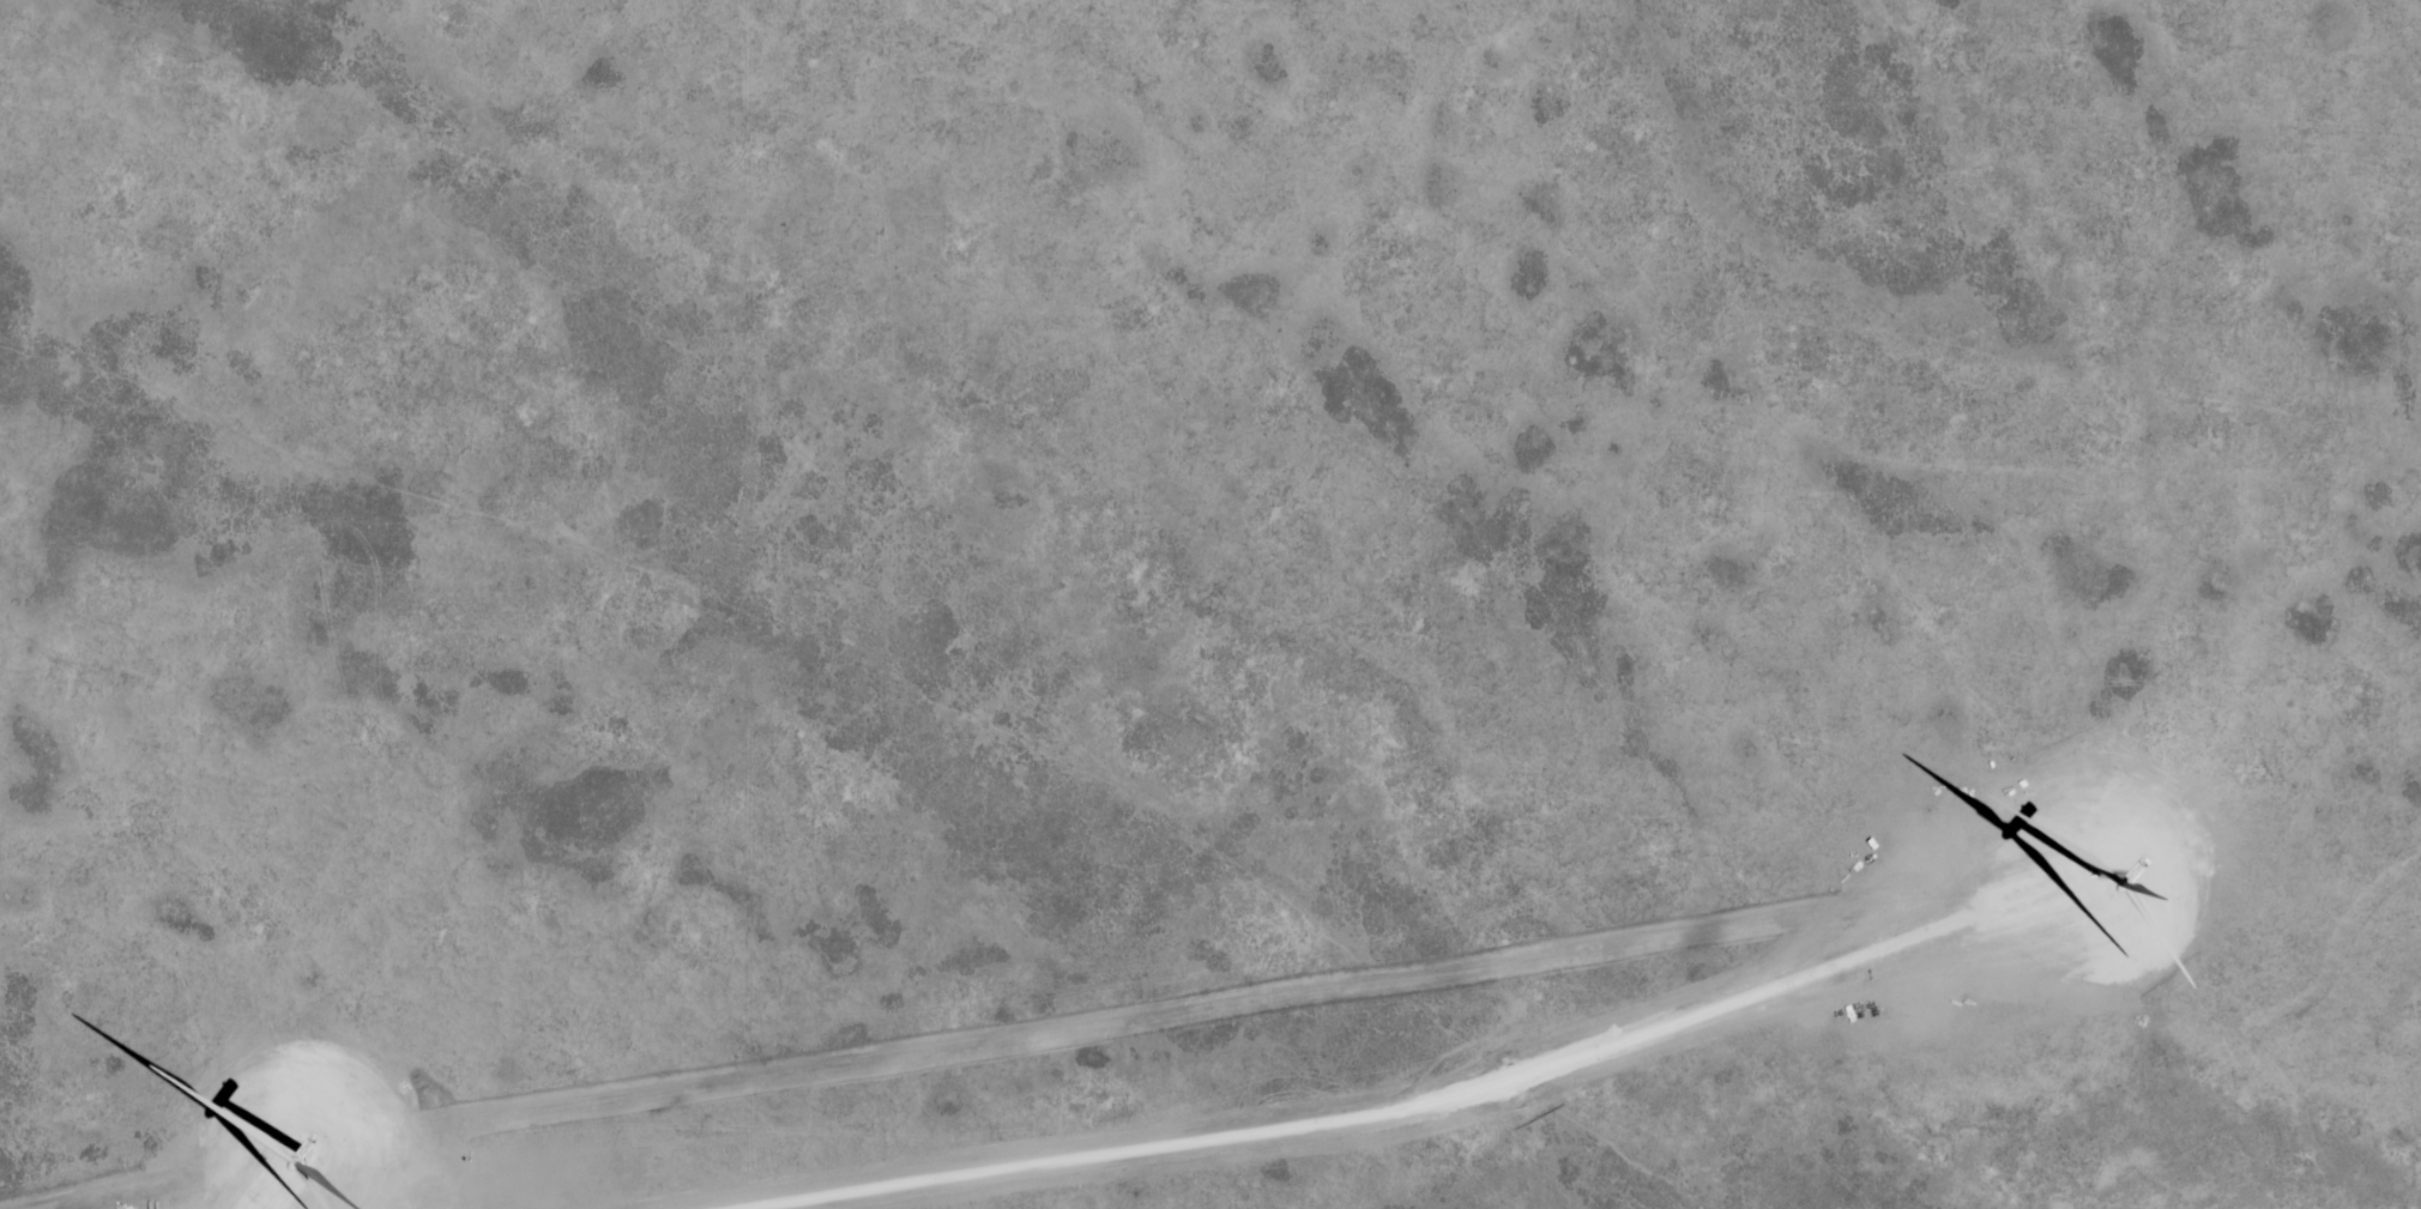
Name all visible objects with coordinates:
wind turbine: (2087, 878)
wind turbine: (294, 1147)

